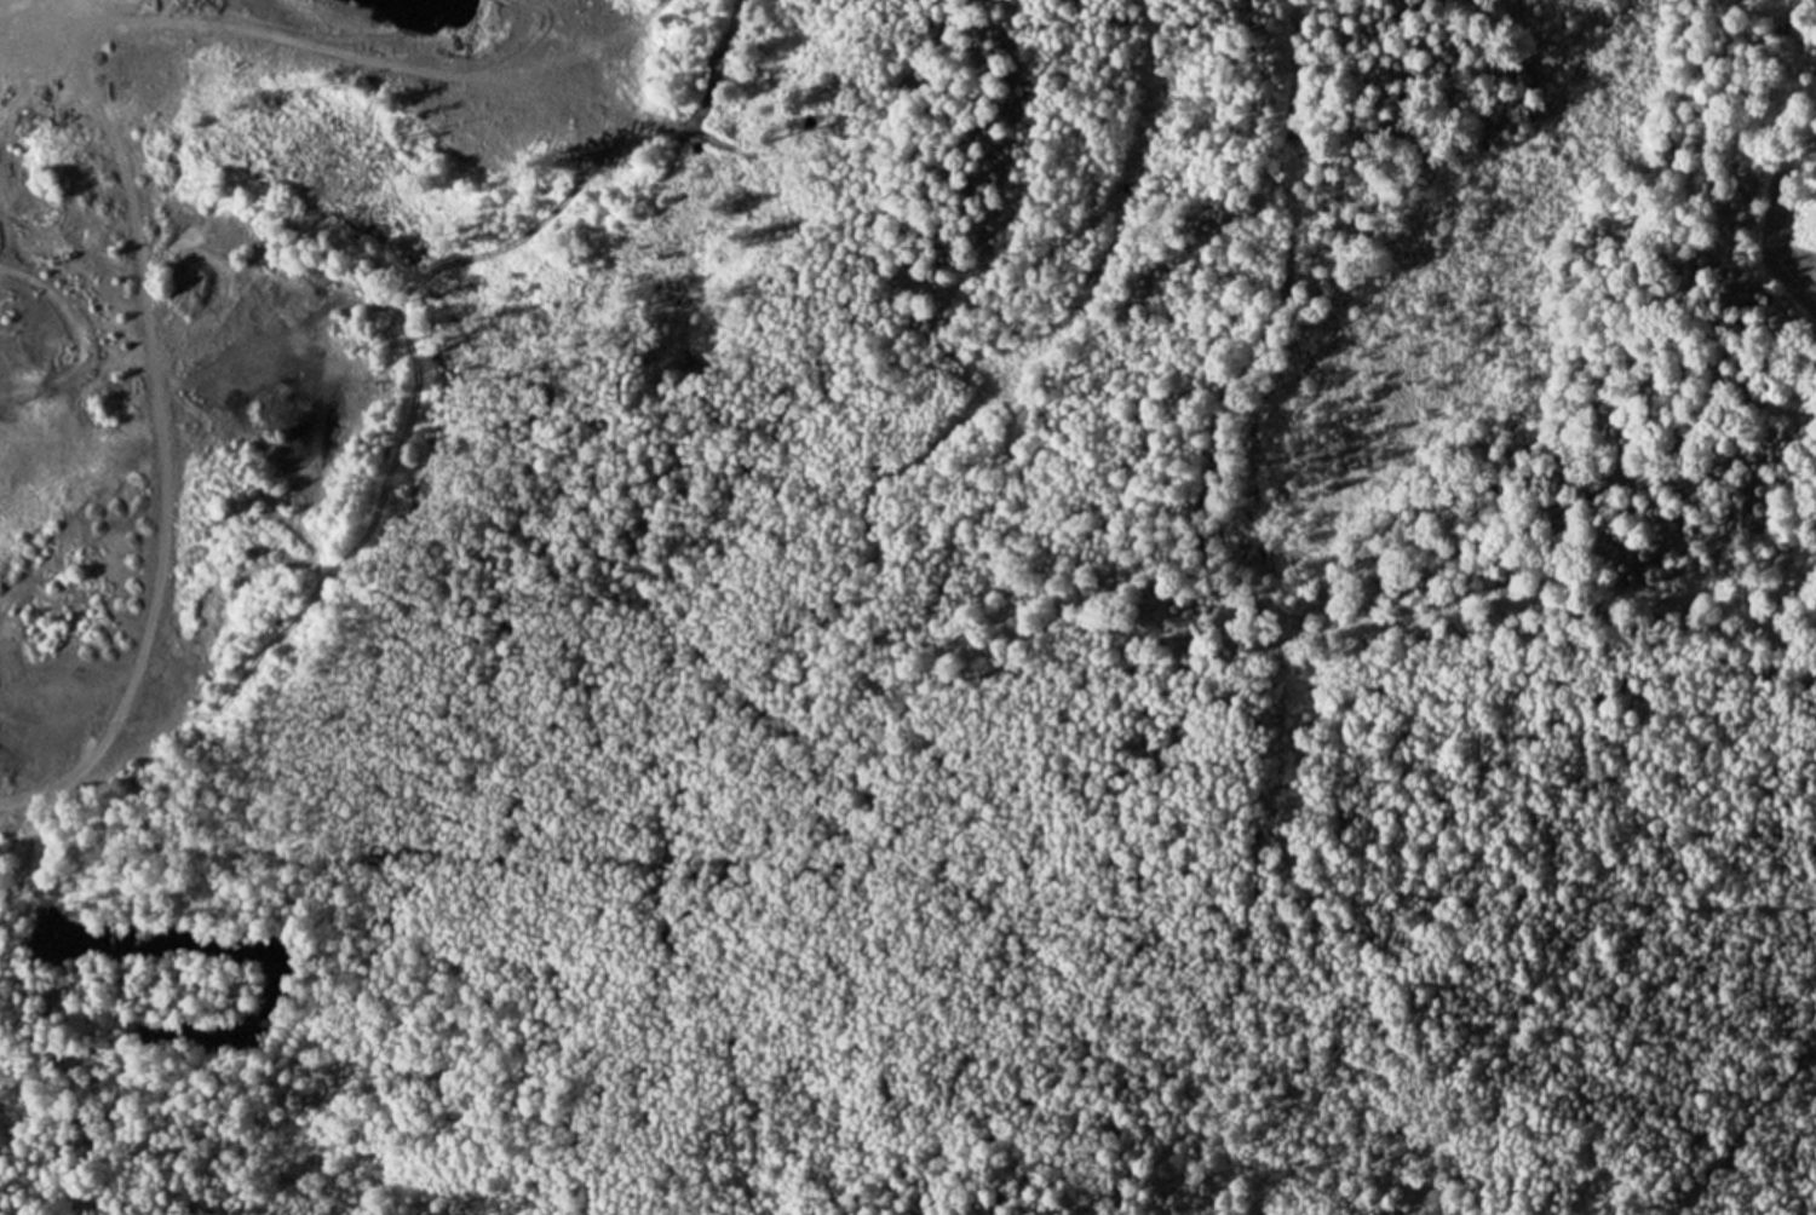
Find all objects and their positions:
road: (2, 1)
road: (92, 36)
quarry: (309, 339)

